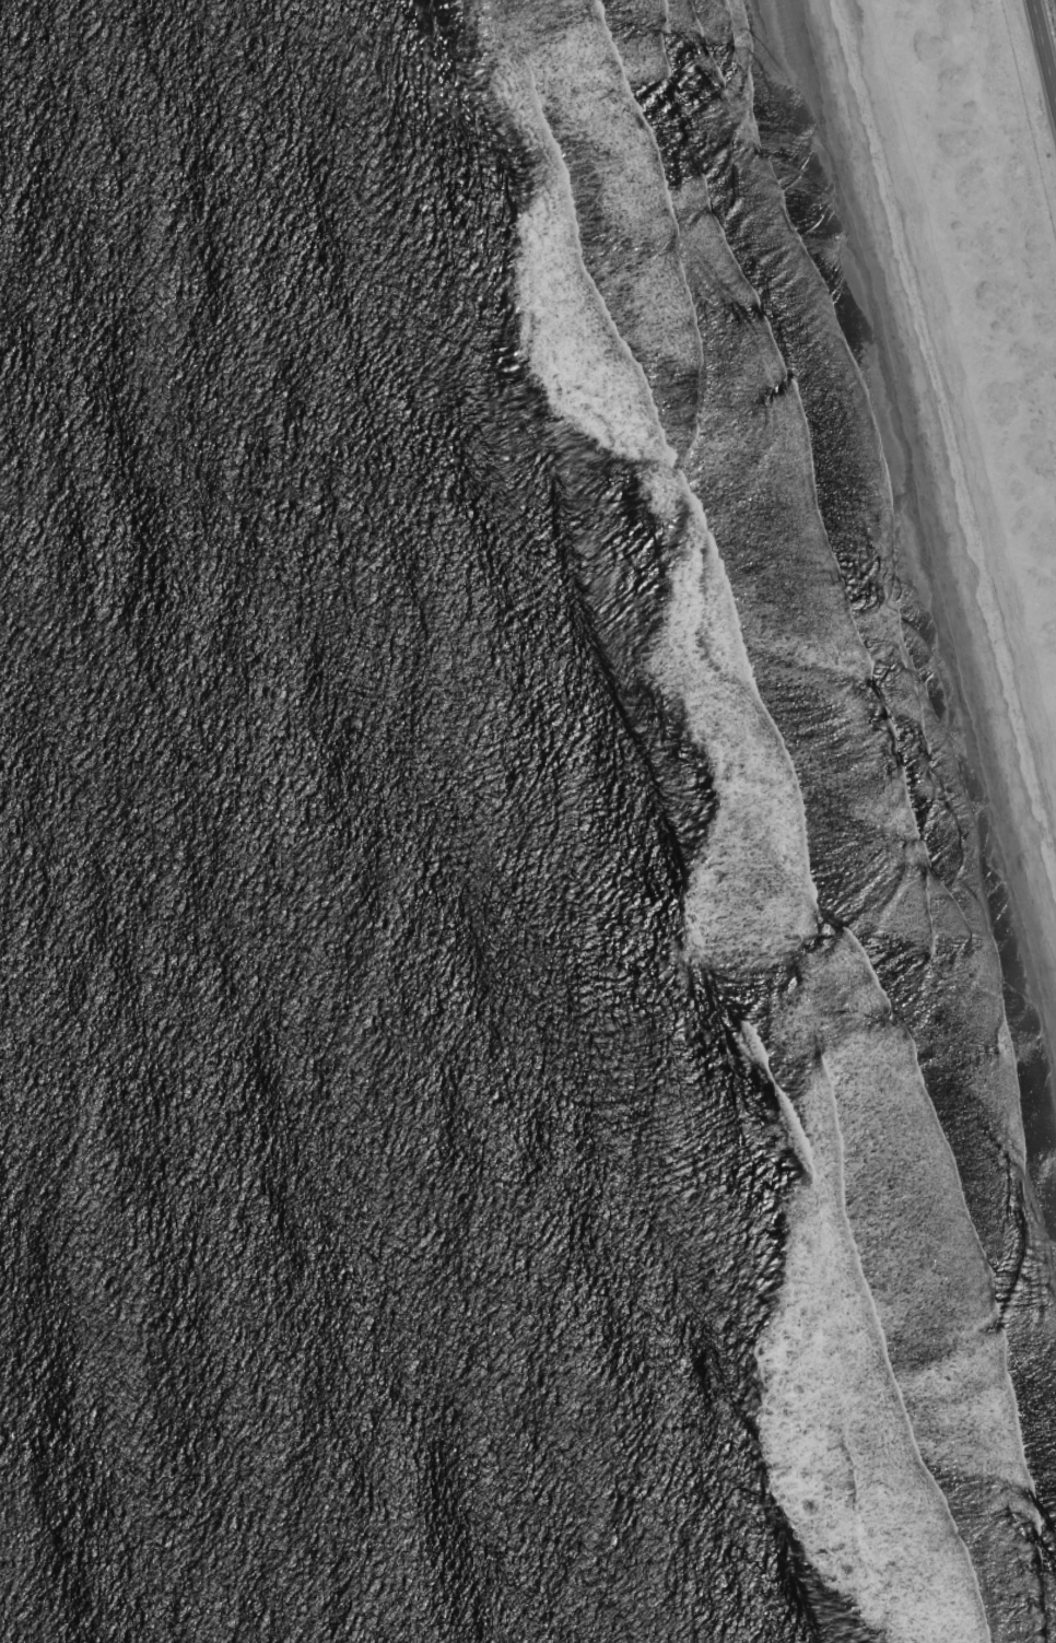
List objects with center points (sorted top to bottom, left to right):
road: (1042, 60)

